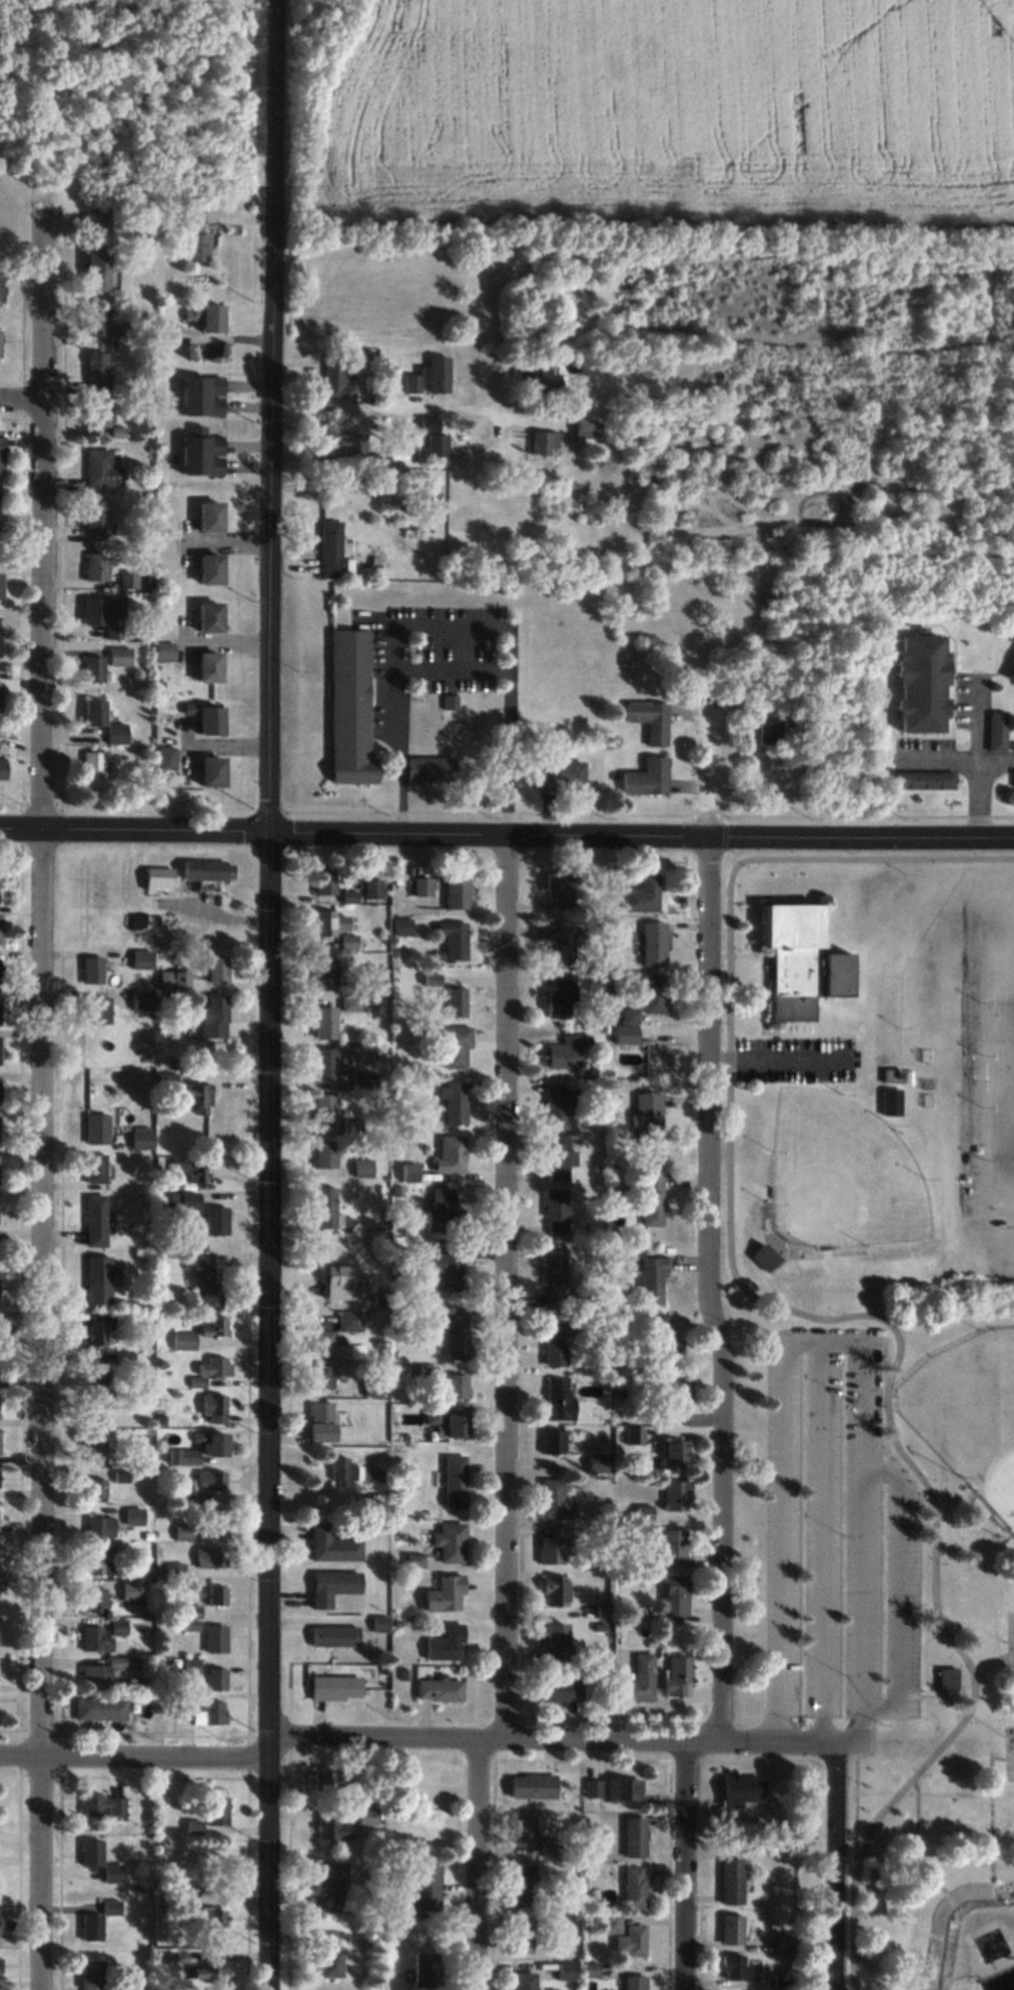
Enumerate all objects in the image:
road: (272, 4)
building: (97, 218)
building: (196, 233)
building: (99, 268)
building: (1, 287)
building: (207, 317)
building: (101, 325)
building: (0, 347)
building: (587, 364)
building: (96, 370)
building: (439, 374)
building: (544, 376)
building: (336, 379)
building: (410, 383)
building: (203, 395)
road: (21, 406)
road: (380, 407)
building: (97, 412)
building: (586, 427)
building: (118, 431)
building: (433, 437)
building: (354, 442)
building: (542, 443)
building: (203, 454)
building: (1, 455)
building: (100, 468)
building: (211, 516)
building: (95, 517)
building: (0, 534)
building: (332, 548)
building: (95, 566)
building: (212, 569)
building: (127, 579)
building: (1, 585)
building: (104, 613)
road: (453, 615)
building: (211, 617)
building: (0, 636)
building: (165, 651)
road: (454, 656)
building: (105, 663)
building: (210, 667)
building: (1011, 678)
building: (922, 683)
building: (0, 693)
road: (974, 707)
building: (351, 708)
building: (95, 712)
building: (212, 720)
building: (649, 720)
building: (767, 724)
building: (994, 730)
building: (117, 733)
road: (960, 746)
building: (166, 757)
road: (708, 765)
building: (2, 767)
building: (93, 767)
building: (430, 769)
building: (212, 772)
building: (561, 775)
building: (647, 777)
building: (1012, 777)
building: (923, 780)
road: (975, 785)
road: (354, 823)
road: (862, 823)
building: (208, 868)
building: (157, 876)
building: (325, 877)
building: (421, 885)
building: (564, 886)
building: (372, 887)
building: (456, 892)
building: (642, 893)
building: (329, 921)
building: (141, 922)
building: (402, 926)
building: (0, 927)
building: (563, 938)
building: (455, 939)
building: (347, 941)
building: (653, 942)
building: (141, 958)
building: (802, 959)
building: (217, 967)
building: (92, 969)
building: (325, 972)
building: (174, 978)
building: (560, 994)
building: (646, 997)
road: (268, 998)
building: (142, 999)
building: (454, 1001)
building: (95, 1009)
building: (214, 1016)
building: (325, 1021)
building: (625, 1033)
building: (454, 1045)
building: (0, 1048)
building: (565, 1050)
road: (774, 1057)
parking lot: (792, 1059)
building: (326, 1062)
building: (893, 1073)
building: (168, 1078)
building: (363, 1078)
building: (200, 1096)
road: (39, 1100)
building: (891, 1100)
building: (454, 1101)
building: (559, 1101)
building: (324, 1108)
building: (645, 1114)
building: (351, 1126)
building: (97, 1127)
building: (142, 1139)
building: (324, 1152)
building: (450, 1153)
building: (558, 1155)
building: (362, 1166)
building: (95, 1167)
building: (409, 1170)
building: (651, 1195)
building: (166, 1202)
building: (325, 1206)
building: (443, 1210)
building: (555, 1210)
building: (95, 1219)
building: (216, 1219)
building: (765, 1255)
building: (449, 1265)
building: (553, 1276)
building: (97, 1278)
road: (504, 1278)
building: (652, 1278)
road: (705, 1279)
building: (207, 1281)
building: (342, 1281)
road: (825, 1318)
building: (349, 1320)
building: (212, 1324)
building: (98, 1326)
building: (458, 1333)
building: (182, 1339)
building: (554, 1341)
road: (837, 1341)
building: (322, 1342)
building: (657, 1343)
building: (209, 1369)
building: (96, 1370)
building: (321, 1375)
building: (456, 1385)
building: (372, 1387)
building: (559, 1398)
building: (668, 1400)
building: (97, 1406)
building: (213, 1407)
building: (322, 1421)
building: (457, 1424)
building: (553, 1440)
building: (216, 1443)
building: (97, 1447)
building: (673, 1452)
building: (182, 1455)
building: (596, 1462)
building: (342, 1471)
building: (121, 1474)
building: (210, 1480)
building: (455, 1480)
building: (96, 1487)
building: (676, 1493)
building: (555, 1499)
building: (216, 1521)
parking lot: (819, 1522)
building: (99, 1525)
building: (182, 1531)
road: (821, 1537)
building: (449, 1541)
building: (332, 1544)
building: (553, 1544)
building: (673, 1546)
building: (211, 1556)
building: (99, 1558)
building: (333, 1585)
road: (895, 1587)
building: (131, 1589)
building: (555, 1589)
building: (443, 1592)
building: (217, 1594)
building: (676, 1594)
parking lot: (899, 1596)
building: (95, 1598)
park: (889, 1607)
building: (101, 1634)
building: (335, 1635)
building: (216, 1637)
building: (555, 1639)
park: (1010, 1641)
building: (445, 1642)
building: (107, 1671)
building: (679, 1674)
building: (948, 1677)
building: (216, 1678)
building: (640, 1679)
building: (335, 1686)
building: (439, 1689)
building: (561, 1689)
building: (100, 1708)
building: (202, 1711)
road: (492, 1732)
road: (777, 1734)
road: (133, 1747)
building: (322, 1779)
building: (531, 1785)
building: (743, 1787)
building: (612, 1788)
building: (371, 1792)
building: (103, 1805)
building: (217, 1809)
building: (366, 1816)
building: (332, 1829)
building: (523, 1829)
building: (635, 1836)
building: (549, 1846)
building: (91, 1851)
road: (477, 1861)
road: (682, 1862)
road: (834, 1867)
building: (112, 1872)
building: (732, 1880)
building: (332, 1884)
building: (523, 1884)
building: (634, 1886)
building: (426, 1889)
building: (215, 1917)
building: (98, 1919)
building: (0, 1922)
building: (732, 1928)
building: (521, 1933)
building: (630, 1940)
building: (787, 1942)
building: (330, 1962)
building: (1, 1963)
building: (737, 1966)
building: (566, 1970)
building: (426, 1971)
building: (91, 1974)
building: (524, 1980)
building: (634, 1982)

